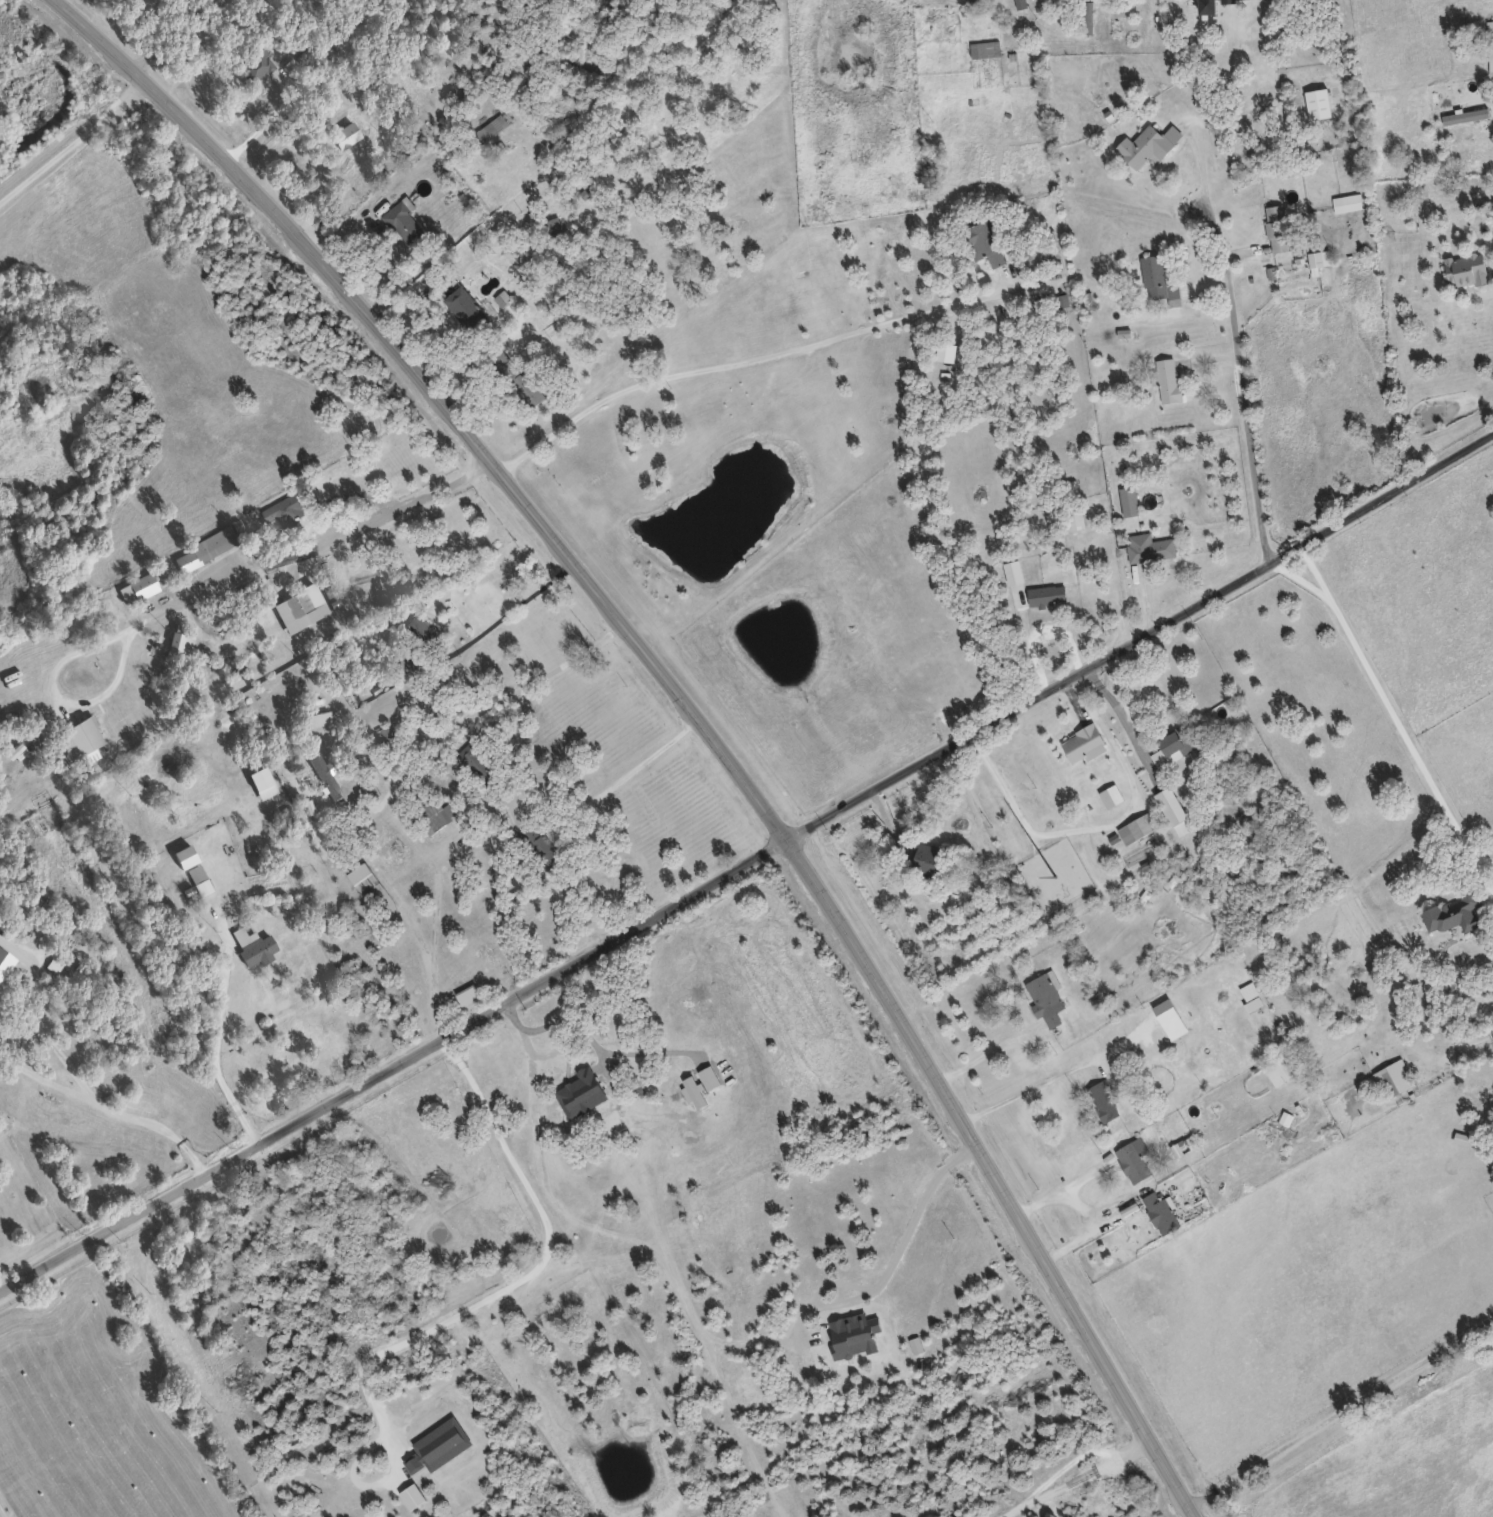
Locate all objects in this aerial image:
building: (1066, 0)
building: (1085, 16)
road: (1188, 34)
road: (160, 35)
building: (1245, 37)
building: (1489, 44)
building: (255, 66)
building: (1465, 115)
road: (262, 123)
building: (493, 125)
building: (346, 142)
building: (1148, 144)
road: (74, 145)
road: (1206, 158)
building: (1347, 202)
building: (403, 220)
building: (1276, 227)
building: (983, 242)
building: (1033, 256)
building: (1319, 258)
building: (1466, 269)
building: (1158, 280)
road: (749, 359)
building: (1167, 378)
road: (1248, 381)
building: (1129, 499)
building: (283, 512)
building: (1073, 513)
building: (1055, 524)
road: (745, 536)
building: (1150, 546)
building: (203, 548)
building: (136, 588)
road: (203, 588)
building: (1047, 594)
building: (299, 607)
road: (499, 615)
building: (414, 634)
road: (1387, 700)
road: (491, 703)
road: (687, 707)
building: (316, 708)
road: (1124, 717)
building: (1177, 741)
building: (1083, 743)
road: (551, 752)
road: (641, 764)
building: (324, 773)
building: (435, 814)
road: (1102, 826)
building: (1137, 827)
building: (924, 859)
road: (1481, 859)
road: (746, 865)
road: (1482, 874)
building: (201, 886)
building: (1452, 913)
building: (253, 945)
building: (4, 955)
building: (1045, 998)
building: (1259, 1007)
building: (1170, 1017)
road: (561, 1021)
road: (989, 1050)
road: (219, 1054)
building: (1281, 1066)
building: (1385, 1082)
road: (1030, 1091)
building: (1103, 1099)
road: (112, 1104)
building: (567, 1107)
building: (1463, 1138)
building: (1183, 1145)
building: (1134, 1159)
road: (1062, 1191)
building: (1160, 1211)
road: (915, 1220)
road: (1091, 1229)
road: (473, 1307)
road: (1340, 1411)
road: (1076, 1478)
road: (4, 1509)

